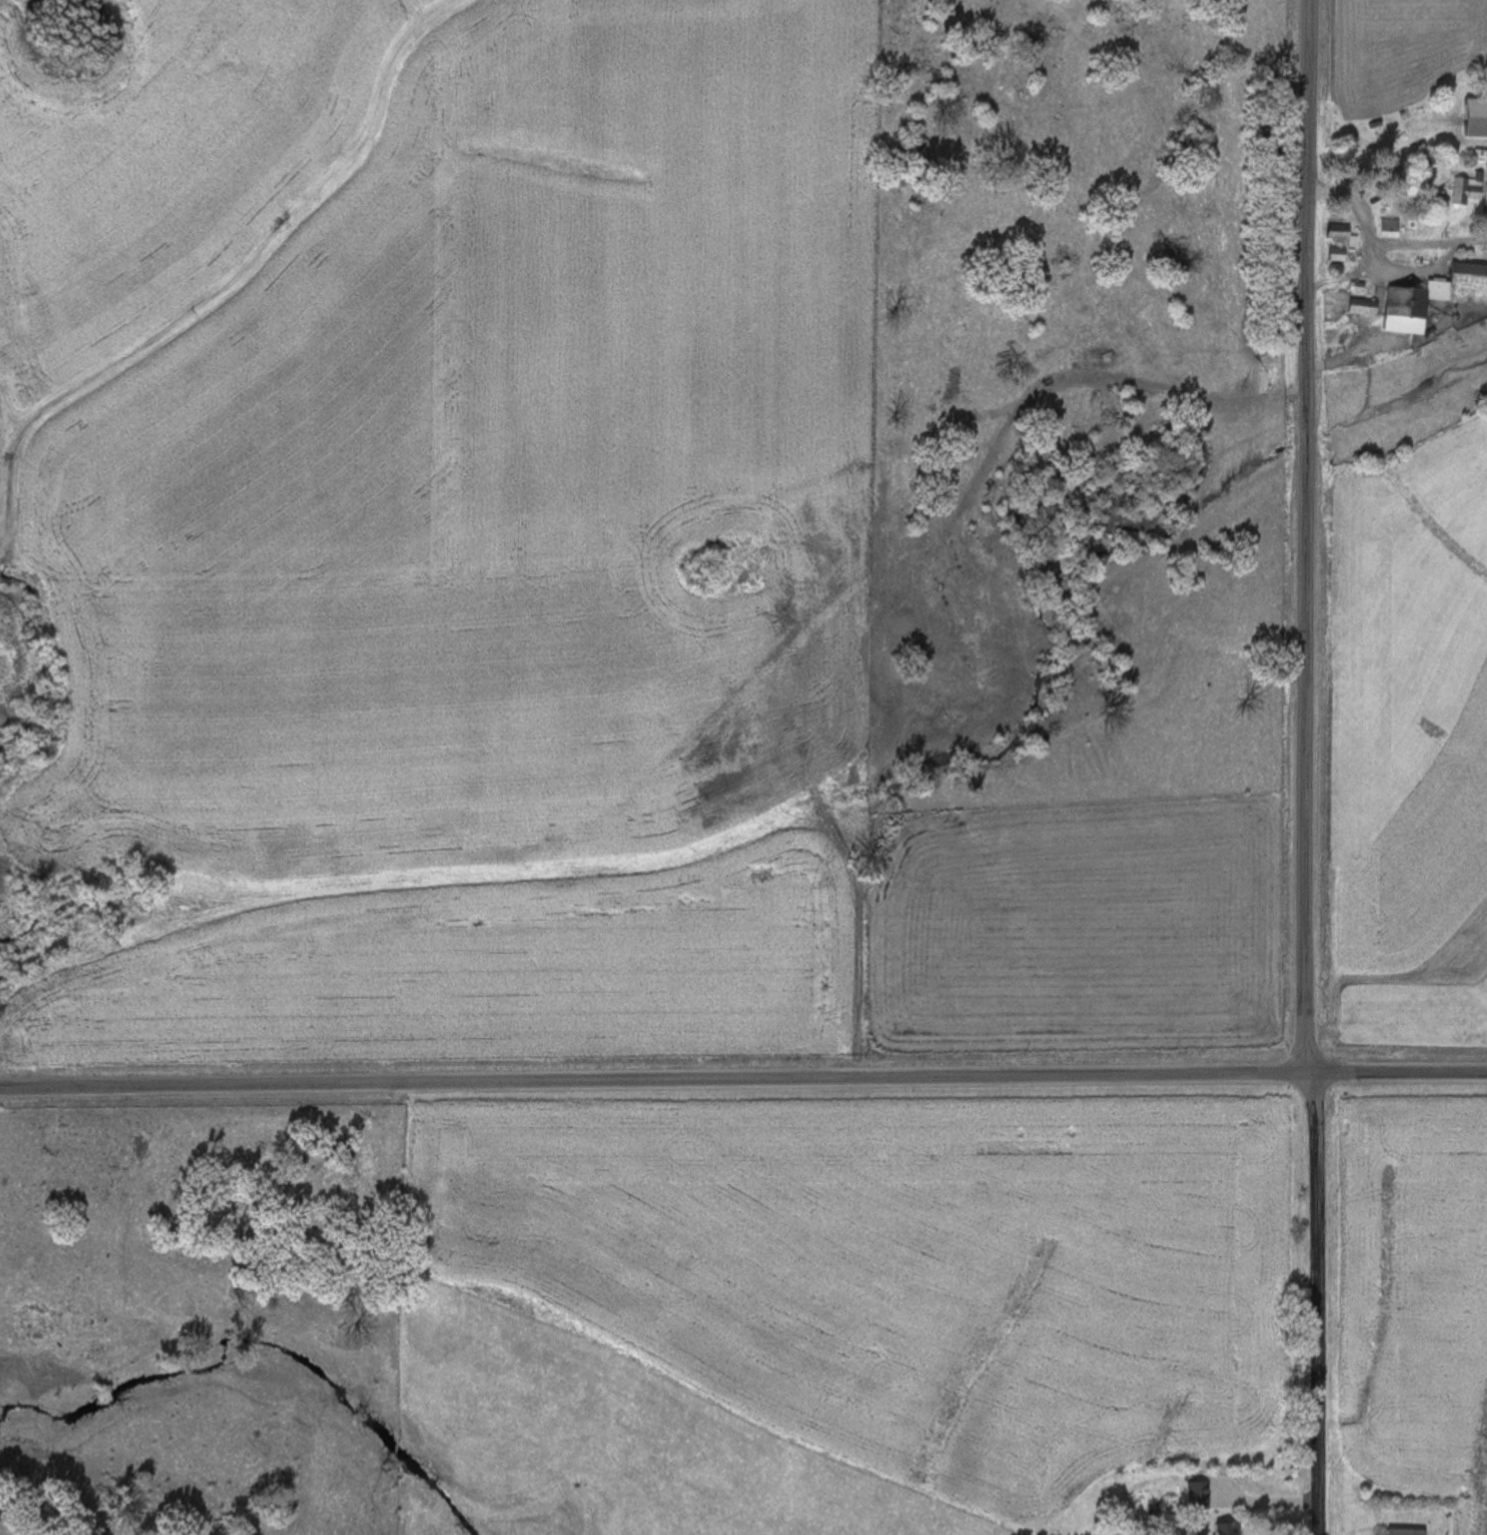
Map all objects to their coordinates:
building: (1478, 118)
building: (1471, 192)
building: (1392, 229)
building: (1342, 233)
building: (1341, 256)
building: (1436, 299)
building: (1367, 308)
mineshaft: (1056, 522)
road: (1303, 535)
mineshaft: (897, 656)
road: (856, 940)
road: (1394, 1072)
road: (650, 1078)
road: (1314, 1303)
building: (1231, 1529)
building: (1408, 1531)

